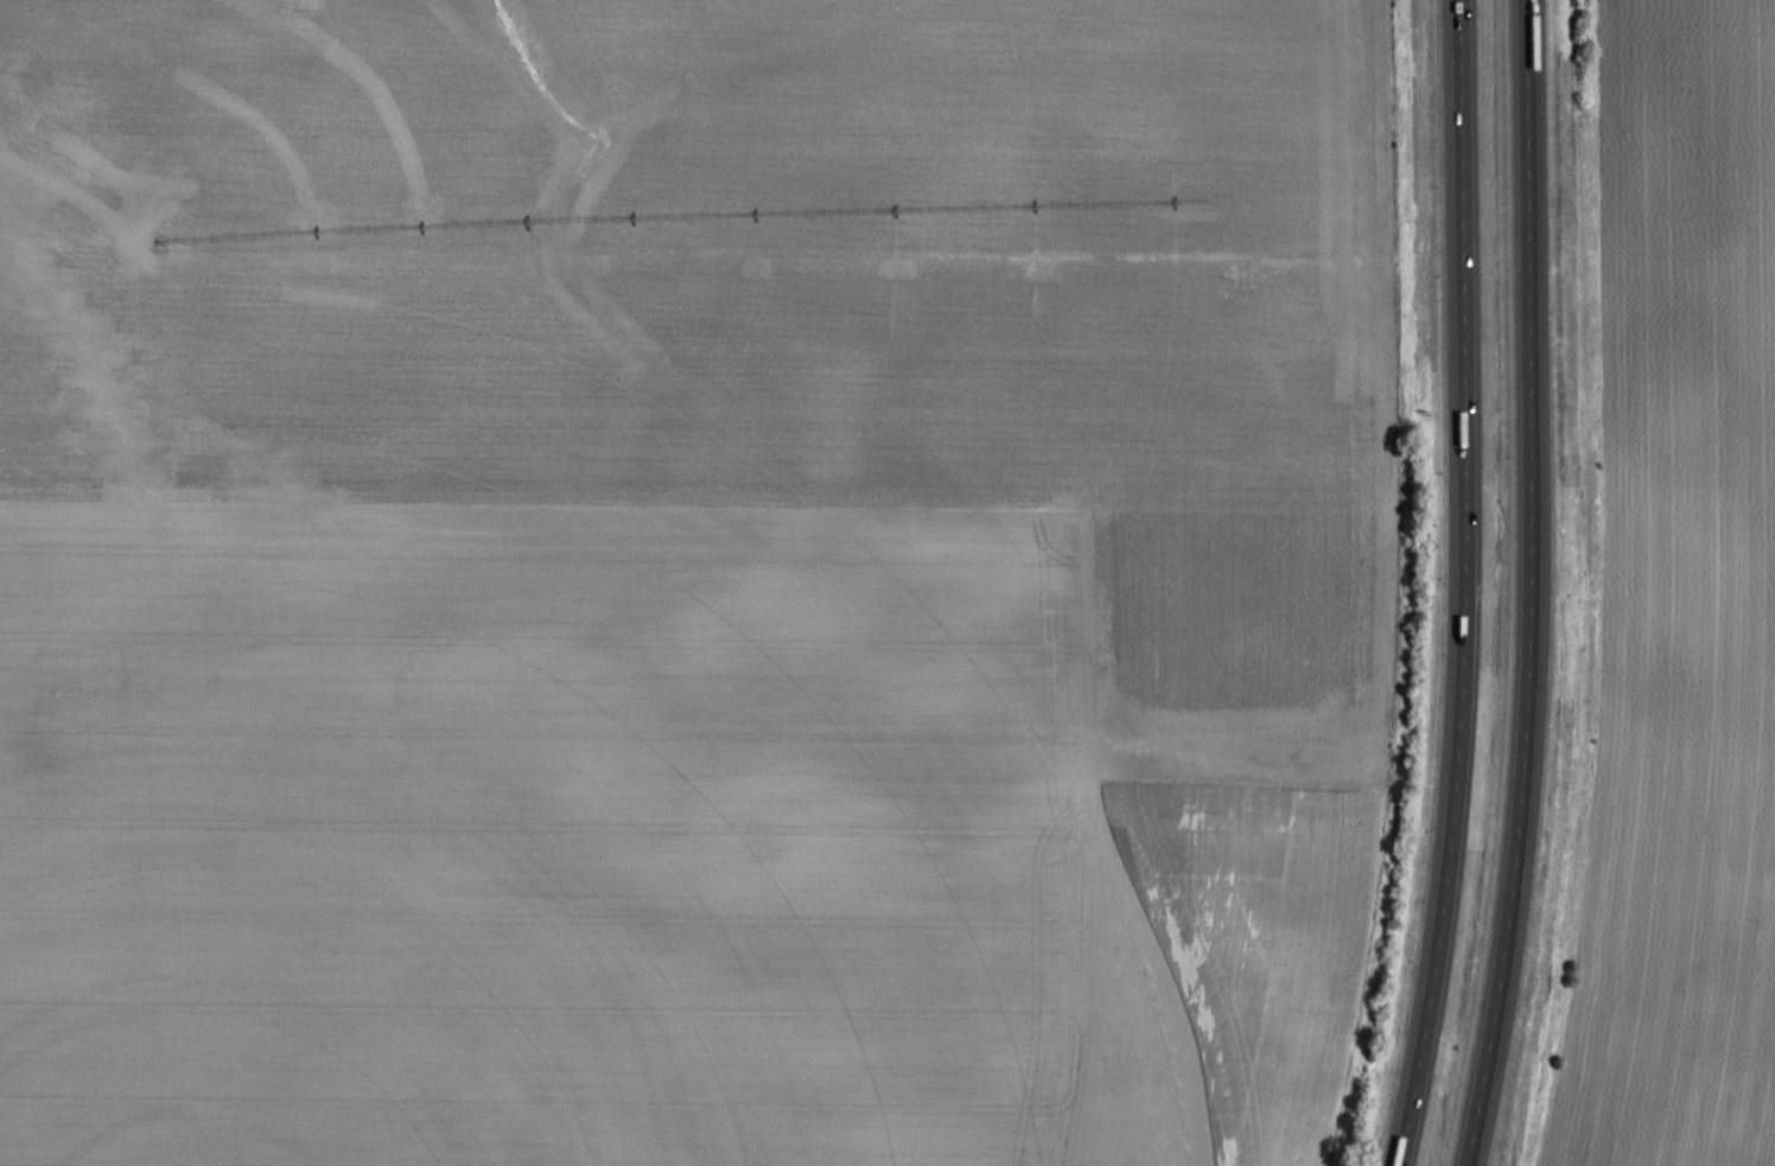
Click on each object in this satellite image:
road: (1462, 585)
road: (1527, 585)

